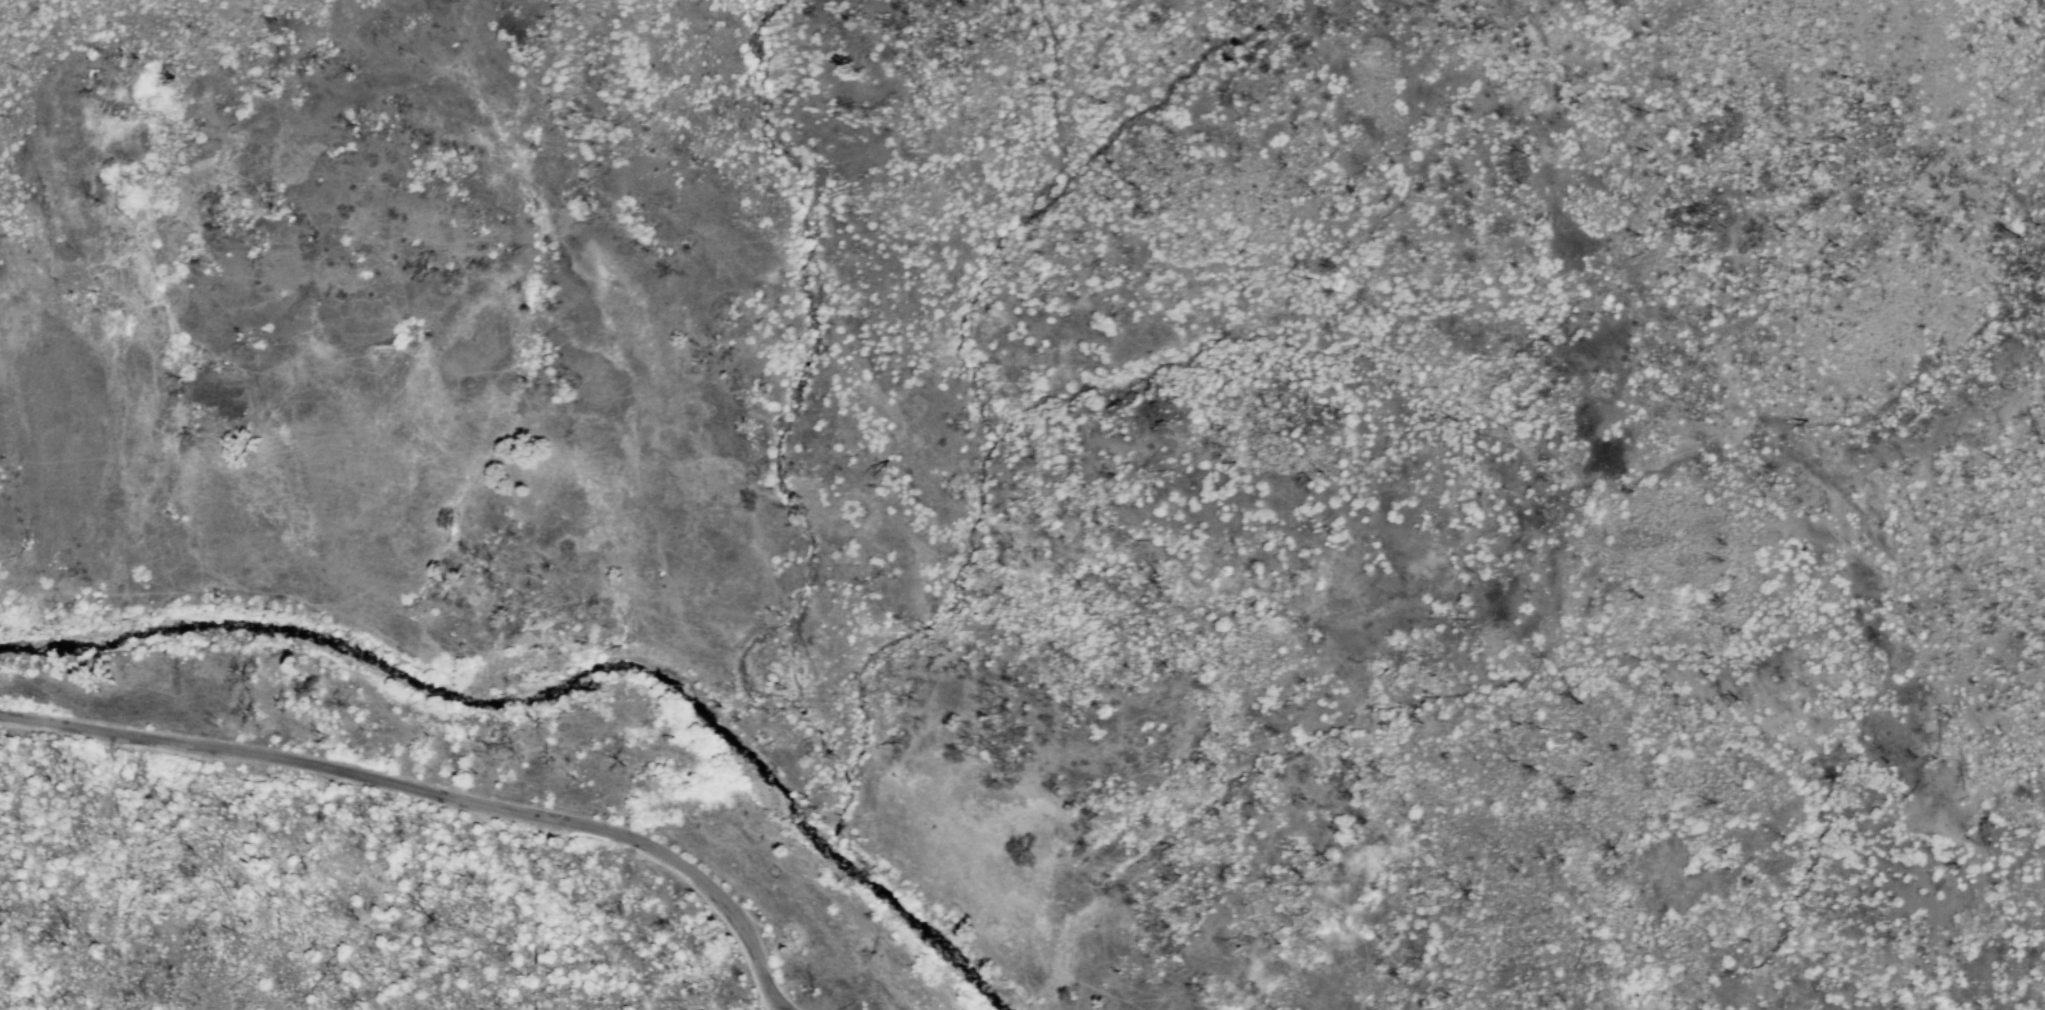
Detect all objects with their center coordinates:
road: (433, 797)

